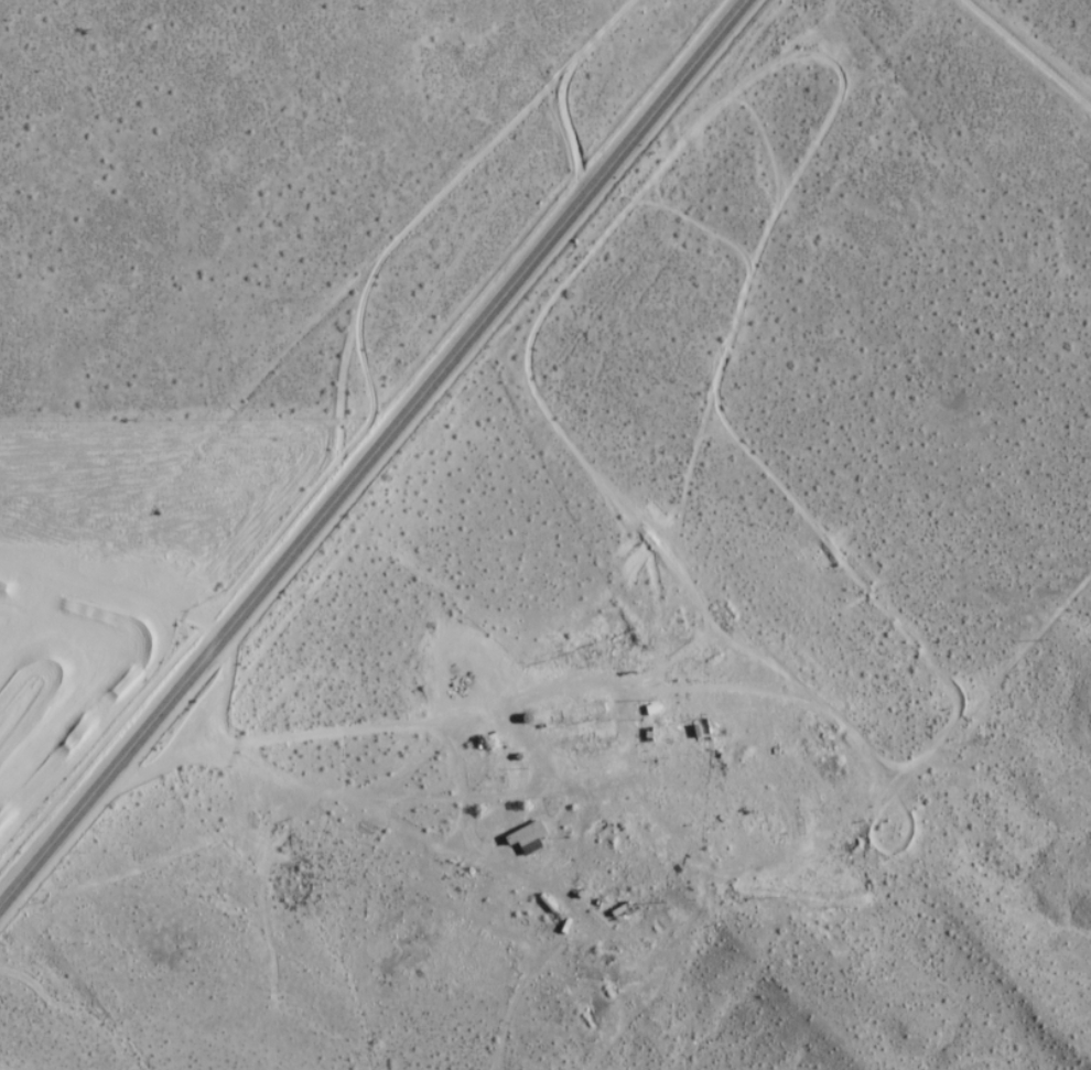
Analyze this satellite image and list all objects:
road: (1027, 53)
road: (374, 453)
road: (227, 689)
road: (476, 707)

